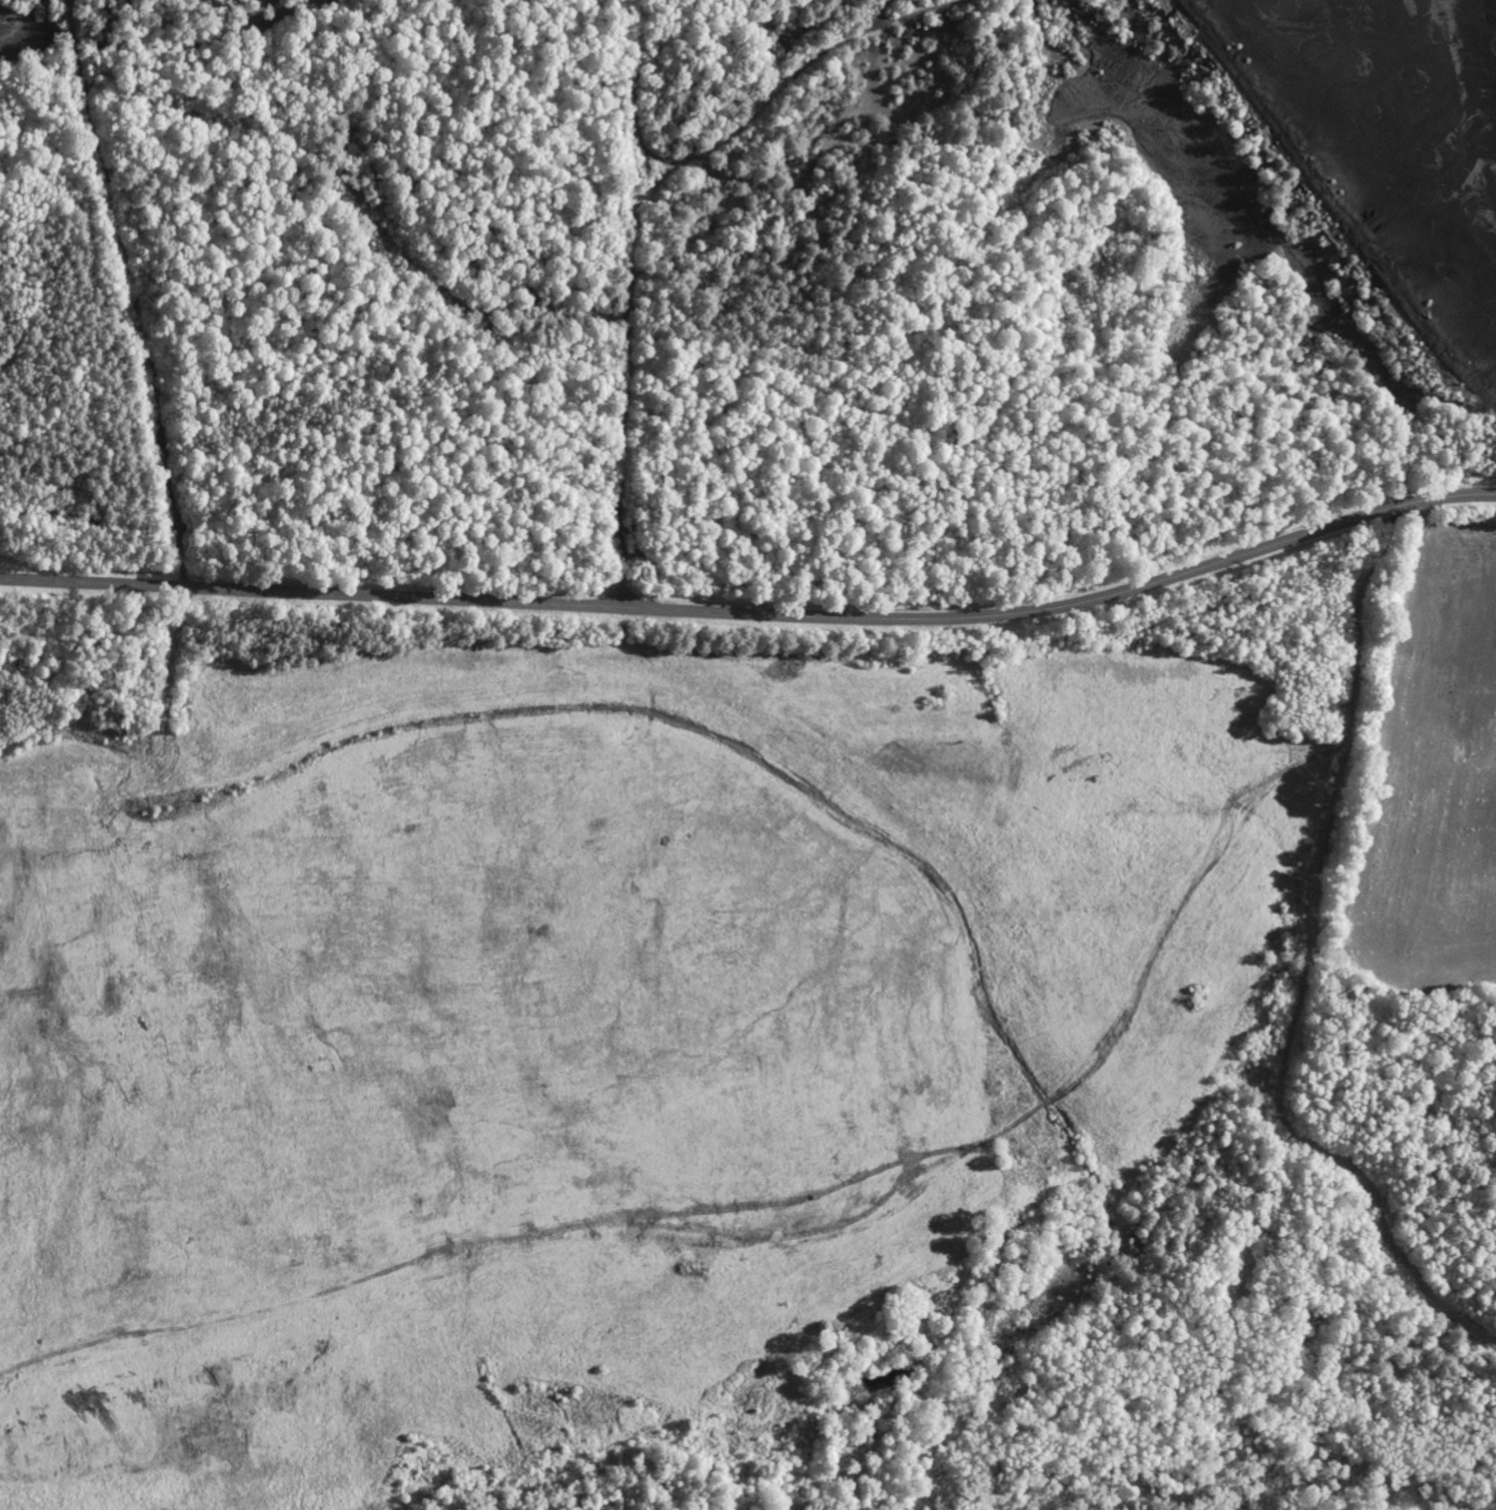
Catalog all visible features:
road: (130, 293)
road: (627, 303)
road: (94, 583)
road: (850, 618)

